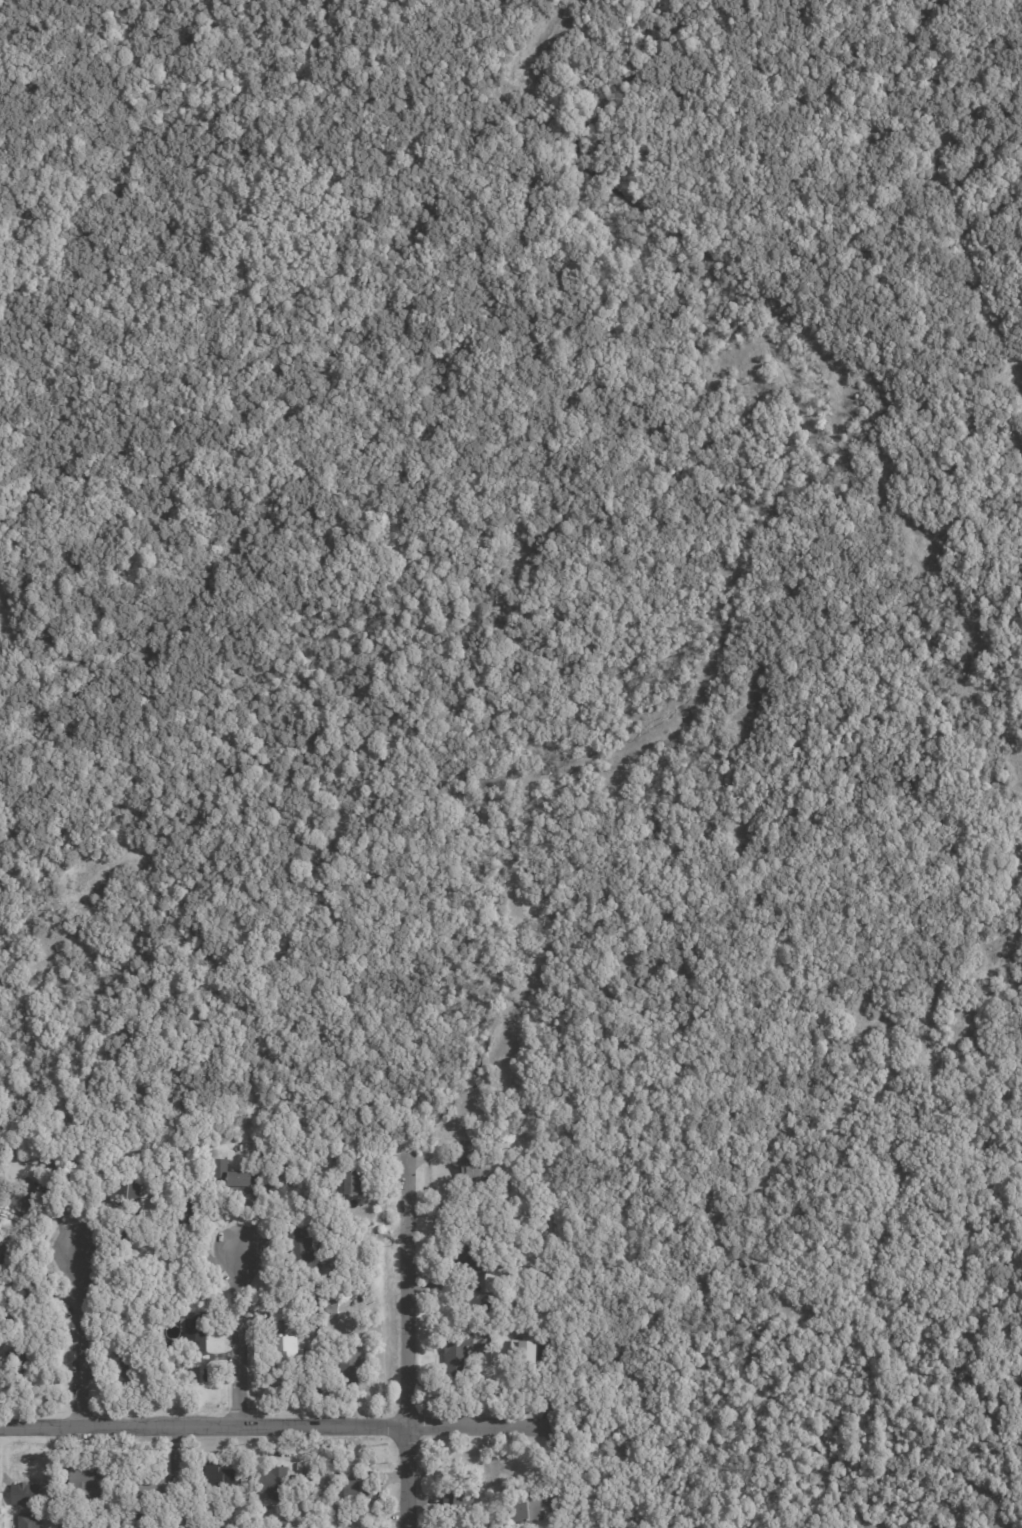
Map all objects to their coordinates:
building: (54, 1150)
building: (474, 1169)
building: (247, 1181)
building: (349, 1181)
building: (357, 1184)
building: (129, 1193)
building: (29, 1198)
building: (195, 1212)
building: (303, 1252)
building: (5, 1266)
building: (495, 1280)
building: (461, 1283)
building: (336, 1302)
building: (16, 1309)
building: (335, 1310)
building: (282, 1312)
building: (198, 1328)
road: (80, 1334)
road: (239, 1334)
road: (406, 1336)
building: (32, 1345)
building: (288, 1345)
building: (527, 1349)
building: (459, 1350)
building: (352, 1358)
building: (130, 1370)
building: (203, 1375)
building: (27, 1381)
road: (275, 1421)
building: (222, 1474)
building: (96, 1479)
building: (277, 1480)
building: (356, 1484)
building: (153, 1486)
building: (453, 1491)
building: (28, 1492)
building: (550, 1504)
building: (526, 1507)
building: (34, 1520)
building: (285, 1524)

